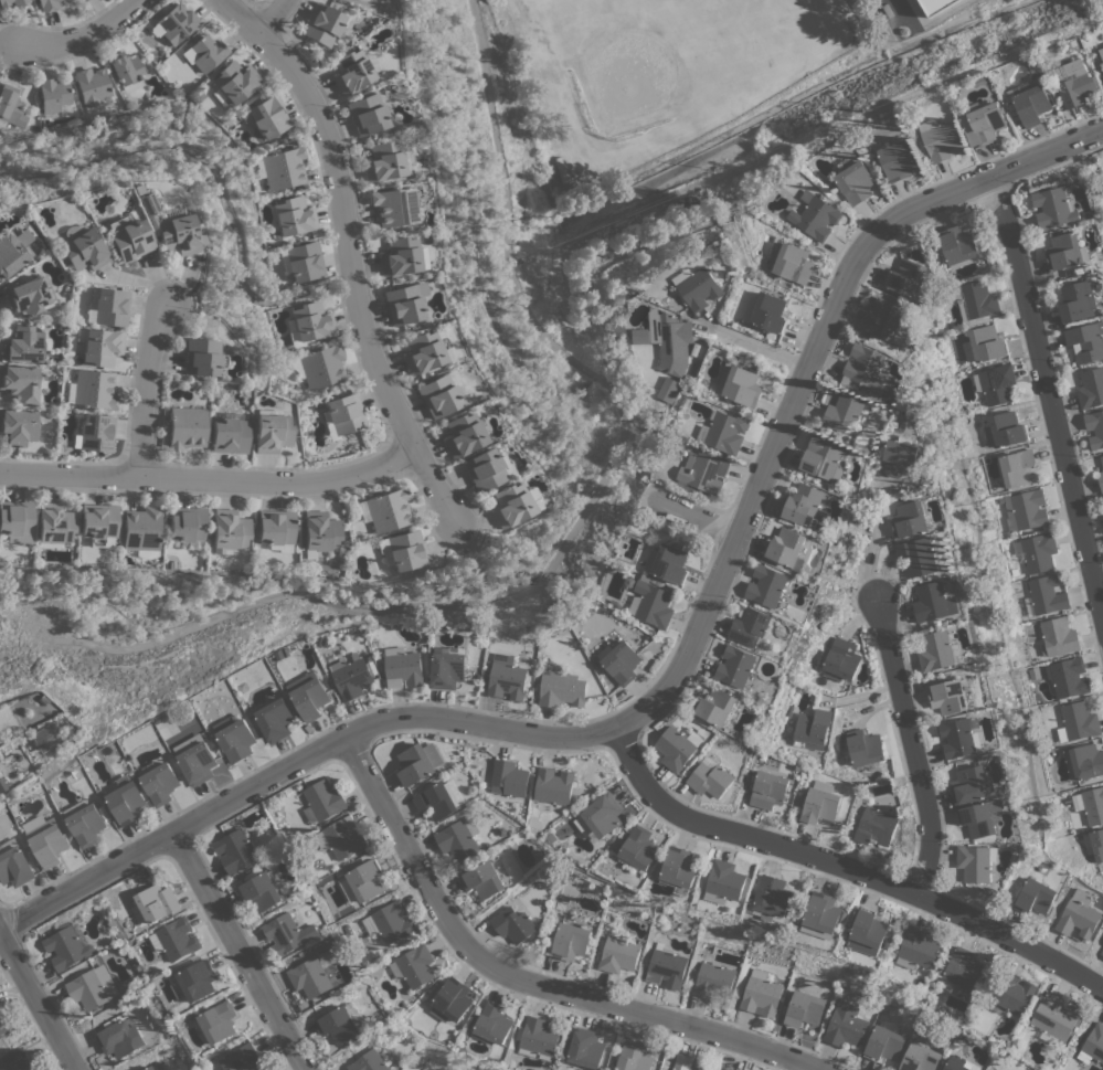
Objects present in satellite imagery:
building: (79, 0)
building: (84, 0)
building: (362, 0)
building: (3, 4)
building: (46, 4)
building: (936, 6)
road: (271, 17)
building: (173, 23)
building: (324, 25)
road: (78, 39)
road: (4, 52)
building: (206, 52)
building: (1101, 52)
building: (1102, 65)
building: (126, 70)
building: (350, 71)
building: (1073, 81)
building: (233, 83)
building: (93, 87)
building: (53, 95)
building: (1031, 105)
building: (10, 106)
building: (367, 114)
building: (268, 115)
building: (987, 121)
building: (942, 139)
building: (899, 159)
building: (382, 160)
building: (283, 168)
road: (214, 178)
building: (857, 182)
building: (393, 206)
building: (1054, 206)
building: (293, 215)
building: (816, 215)
building: (170, 225)
building: (128, 237)
building: (957, 244)
building: (83, 250)
building: (12, 251)
building: (1067, 251)
road: (347, 252)
building: (401, 256)
building: (304, 261)
building: (793, 262)
building: (911, 278)
building: (702, 288)
building: (28, 295)
building: (1078, 300)
building: (975, 301)
building: (403, 303)
building: (110, 306)
building: (766, 311)
building: (887, 320)
building: (308, 322)
building: (643, 336)
building: (672, 340)
road: (757, 341)
building: (1086, 342)
building: (22, 345)
building: (984, 345)
building: (100, 347)
building: (421, 351)
building: (201, 357)
building: (320, 366)
building: (865, 368)
building: (19, 382)
building: (741, 383)
building: (995, 383)
building: (1091, 388)
building: (92, 390)
building: (670, 390)
road: (1053, 390)
road: (144, 391)
building: (436, 395)
building: (844, 411)
building: (343, 413)
building: (18, 426)
building: (185, 427)
building: (1095, 428)
building: (1004, 430)
building: (95, 432)
building: (271, 432)
building: (725, 432)
building: (460, 434)
building: (227, 435)
building: (901, 456)
building: (824, 458)
building: (1102, 458)
building: (1016, 467)
building: (485, 469)
building: (704, 472)
road: (209, 478)
building: (1101, 478)
building: (508, 505)
building: (805, 507)
building: (1024, 509)
building: (385, 510)
building: (15, 517)
building: (910, 519)
road: (694, 521)
building: (99, 522)
building: (187, 523)
building: (54, 525)
building: (275, 527)
building: (141, 528)
building: (229, 529)
building: (319, 532)
road: (865, 541)
building: (787, 548)
building: (405, 550)
building: (1037, 552)
building: (919, 557)
building: (669, 562)
building: (767, 585)
building: (1046, 595)
building: (934, 602)
building: (651, 603)
building: (752, 627)
building: (1058, 637)
building: (936, 651)
building: (841, 659)
building: (621, 661)
building: (734, 666)
building: (403, 667)
building: (447, 668)
building: (1067, 676)
building: (351, 677)
building: (507, 677)
road: (671, 681)
building: (562, 689)
building: (308, 695)
building: (948, 696)
building: (717, 706)
building: (274, 720)
building: (1079, 720)
building: (813, 729)
building: (44, 738)
building: (959, 738)
building: (236, 740)
road: (909, 744)
building: (675, 749)
building: (865, 749)
building: (197, 760)
building: (1086, 761)
building: (418, 762)
building: (509, 777)
building: (710, 780)
building: (2, 783)
building: (160, 783)
building: (554, 785)
building: (972, 785)
building: (770, 790)
building: (126, 799)
building: (322, 801)
building: (438, 801)
building: (821, 803)
building: (1090, 805)
building: (601, 817)
building: (982, 817)
building: (86, 822)
building: (877, 826)
building: (341, 837)
building: (458, 838)
building: (46, 839)
building: (1094, 844)
building: (639, 847)
building: (235, 850)
building: (977, 861)
building: (14, 864)
road: (846, 869)
building: (680, 870)
building: (727, 879)
building: (367, 880)
building: (482, 880)
building: (263, 890)
building: (773, 897)
building: (1036, 897)
building: (156, 903)
building: (1080, 914)
building: (823, 915)
building: (390, 922)
building: (513, 924)
building: (869, 932)
building: (287, 934)
building: (178, 939)
building: (569, 941)
building: (67, 945)
building: (919, 949)
building: (1102, 952)
road: (247, 954)
building: (618, 954)
building: (416, 965)
building: (666, 967)
building: (963, 973)
building: (310, 977)
building: (197, 981)
road: (526, 981)
building: (712, 981)
building: (93, 987)
building: (1014, 992)
building: (761, 994)
building: (452, 999)
road: (39, 1002)
building: (805, 1008)
building: (1054, 1016)
building: (220, 1020)
building: (341, 1023)
building: (494, 1024)
building: (845, 1025)
building: (3, 1026)
building: (121, 1038)
building: (539, 1038)
building: (883, 1043)
building: (1093, 1043)
building: (587, 1048)
building: (635, 1057)
building: (243, 1058)
building: (920, 1058)
building: (17, 1060)
building: (369, 1061)
building: (683, 1062)
building: (954, 1066)
building: (156, 1067)
building: (703, 1068)
building: (728, 1069)
building: (731, 1069)

